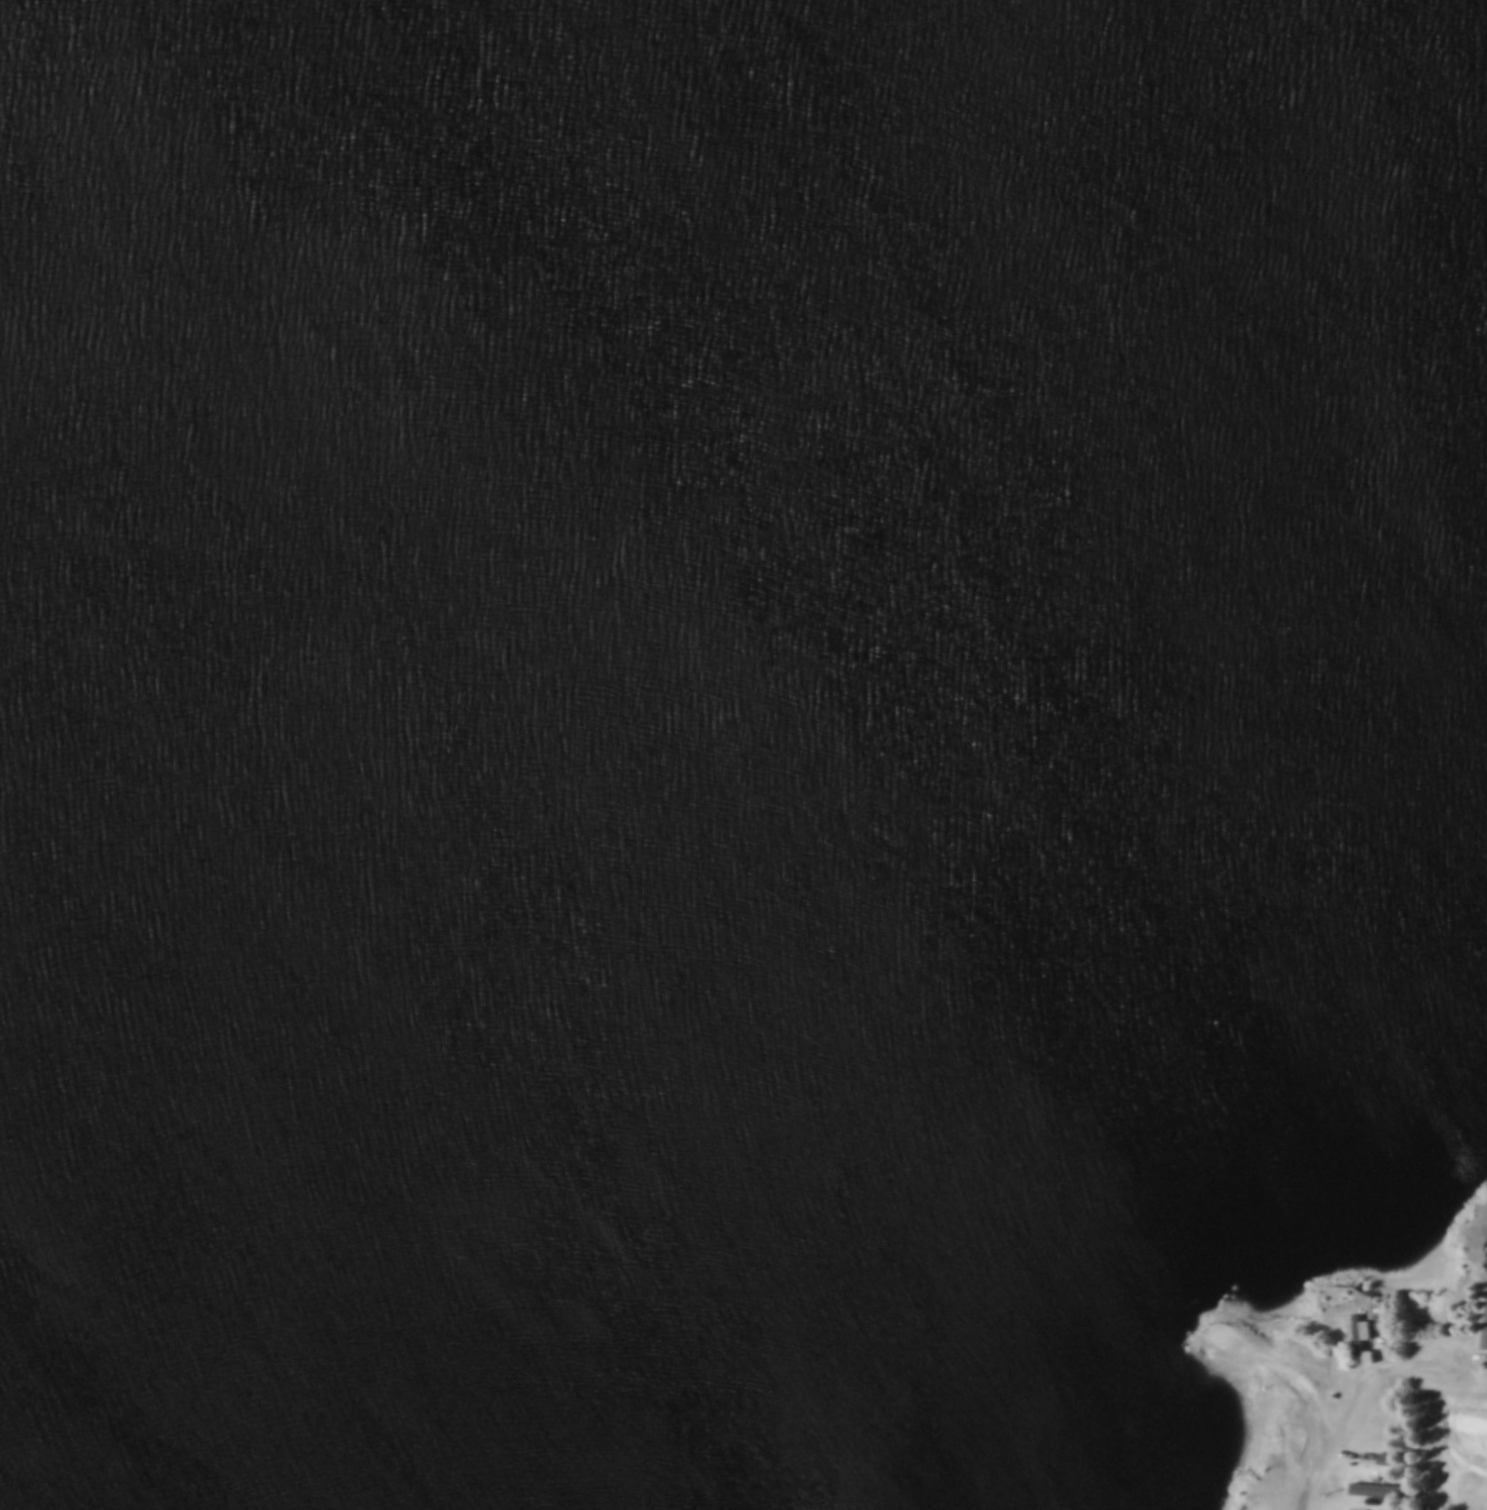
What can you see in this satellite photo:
building: (1482, 1323)
building: (1360, 1336)
road: (1377, 1379)
road: (1323, 1432)
building: (1382, 1486)
building: (1388, 1505)

